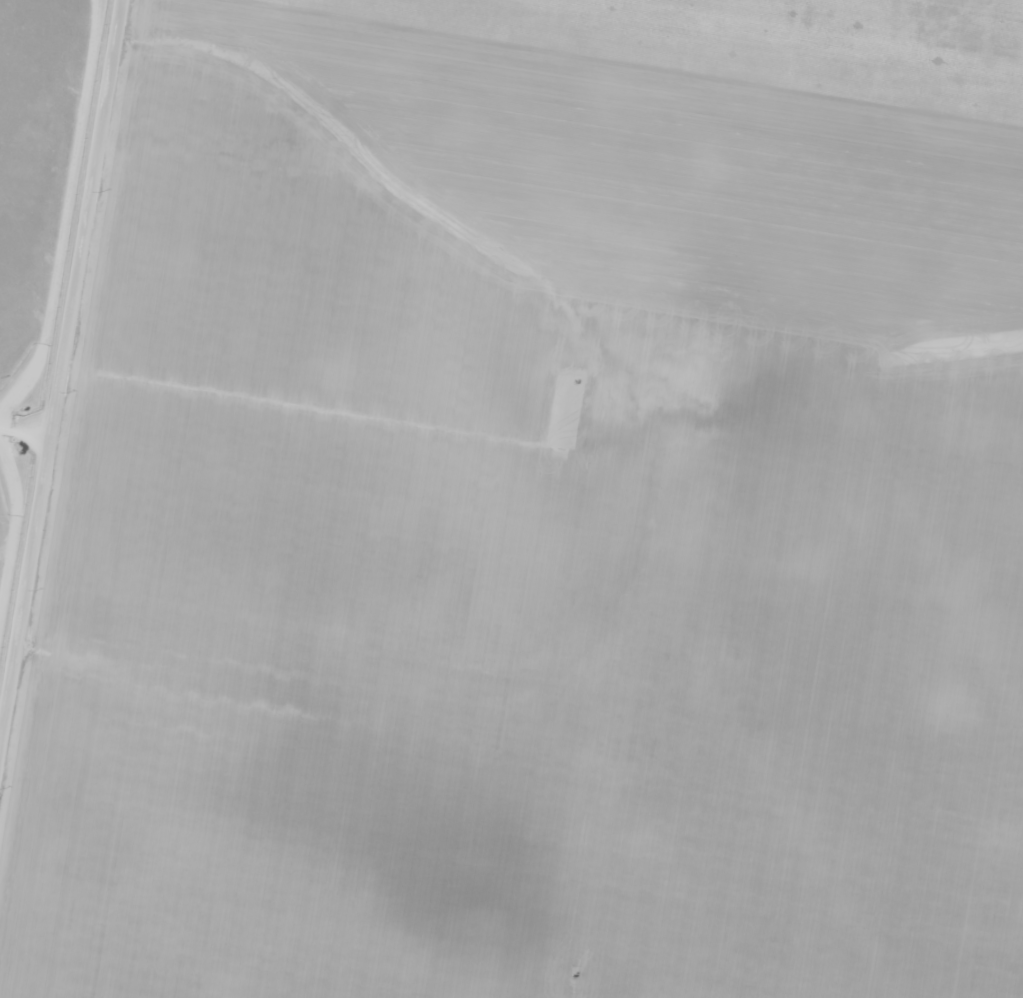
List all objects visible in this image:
road: (565, 85)
road: (54, 349)

